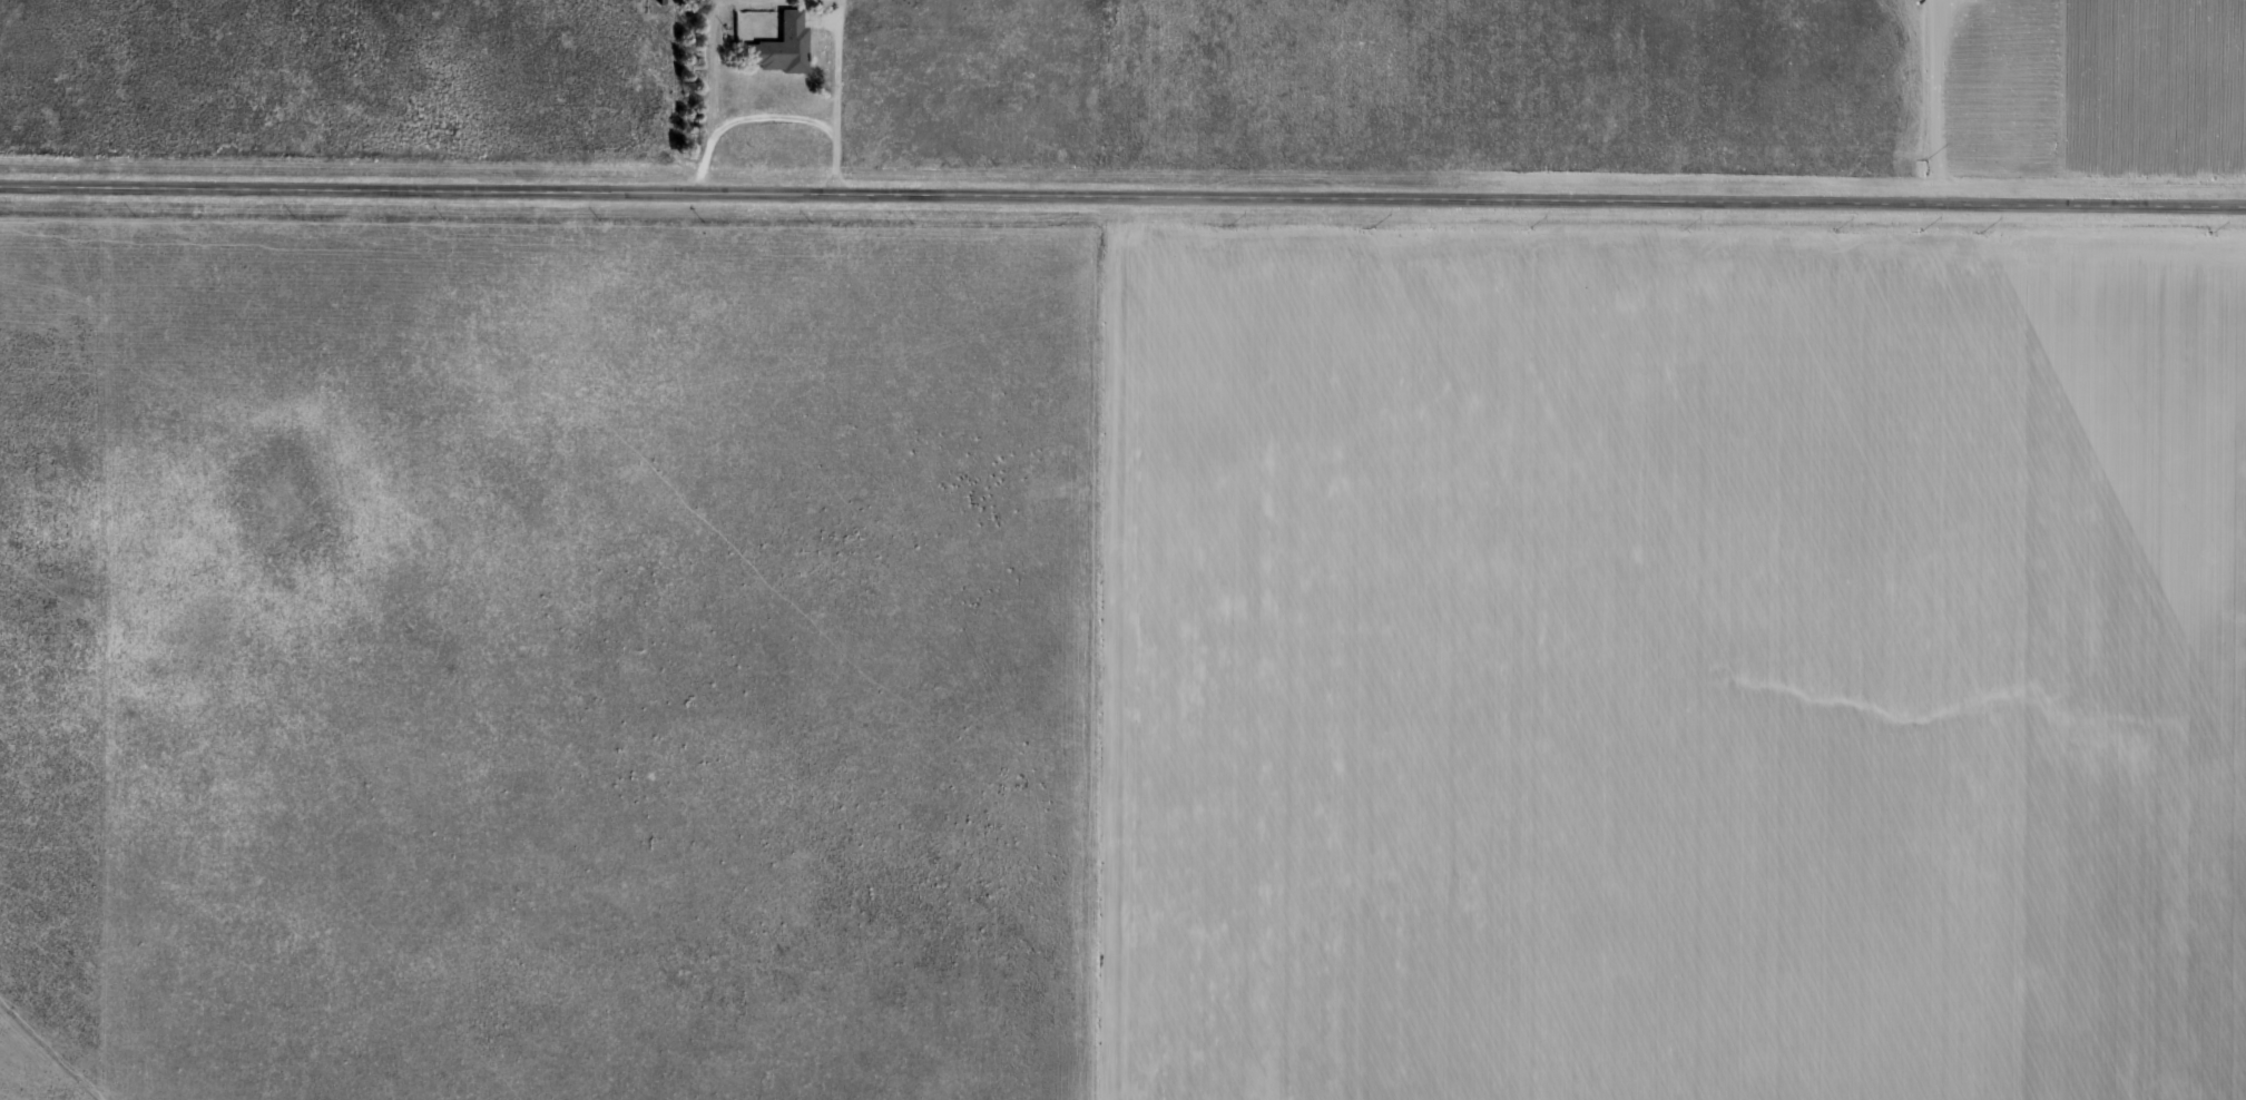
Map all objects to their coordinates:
building: (777, 48)
road: (836, 108)
road: (745, 116)
road: (1122, 195)

